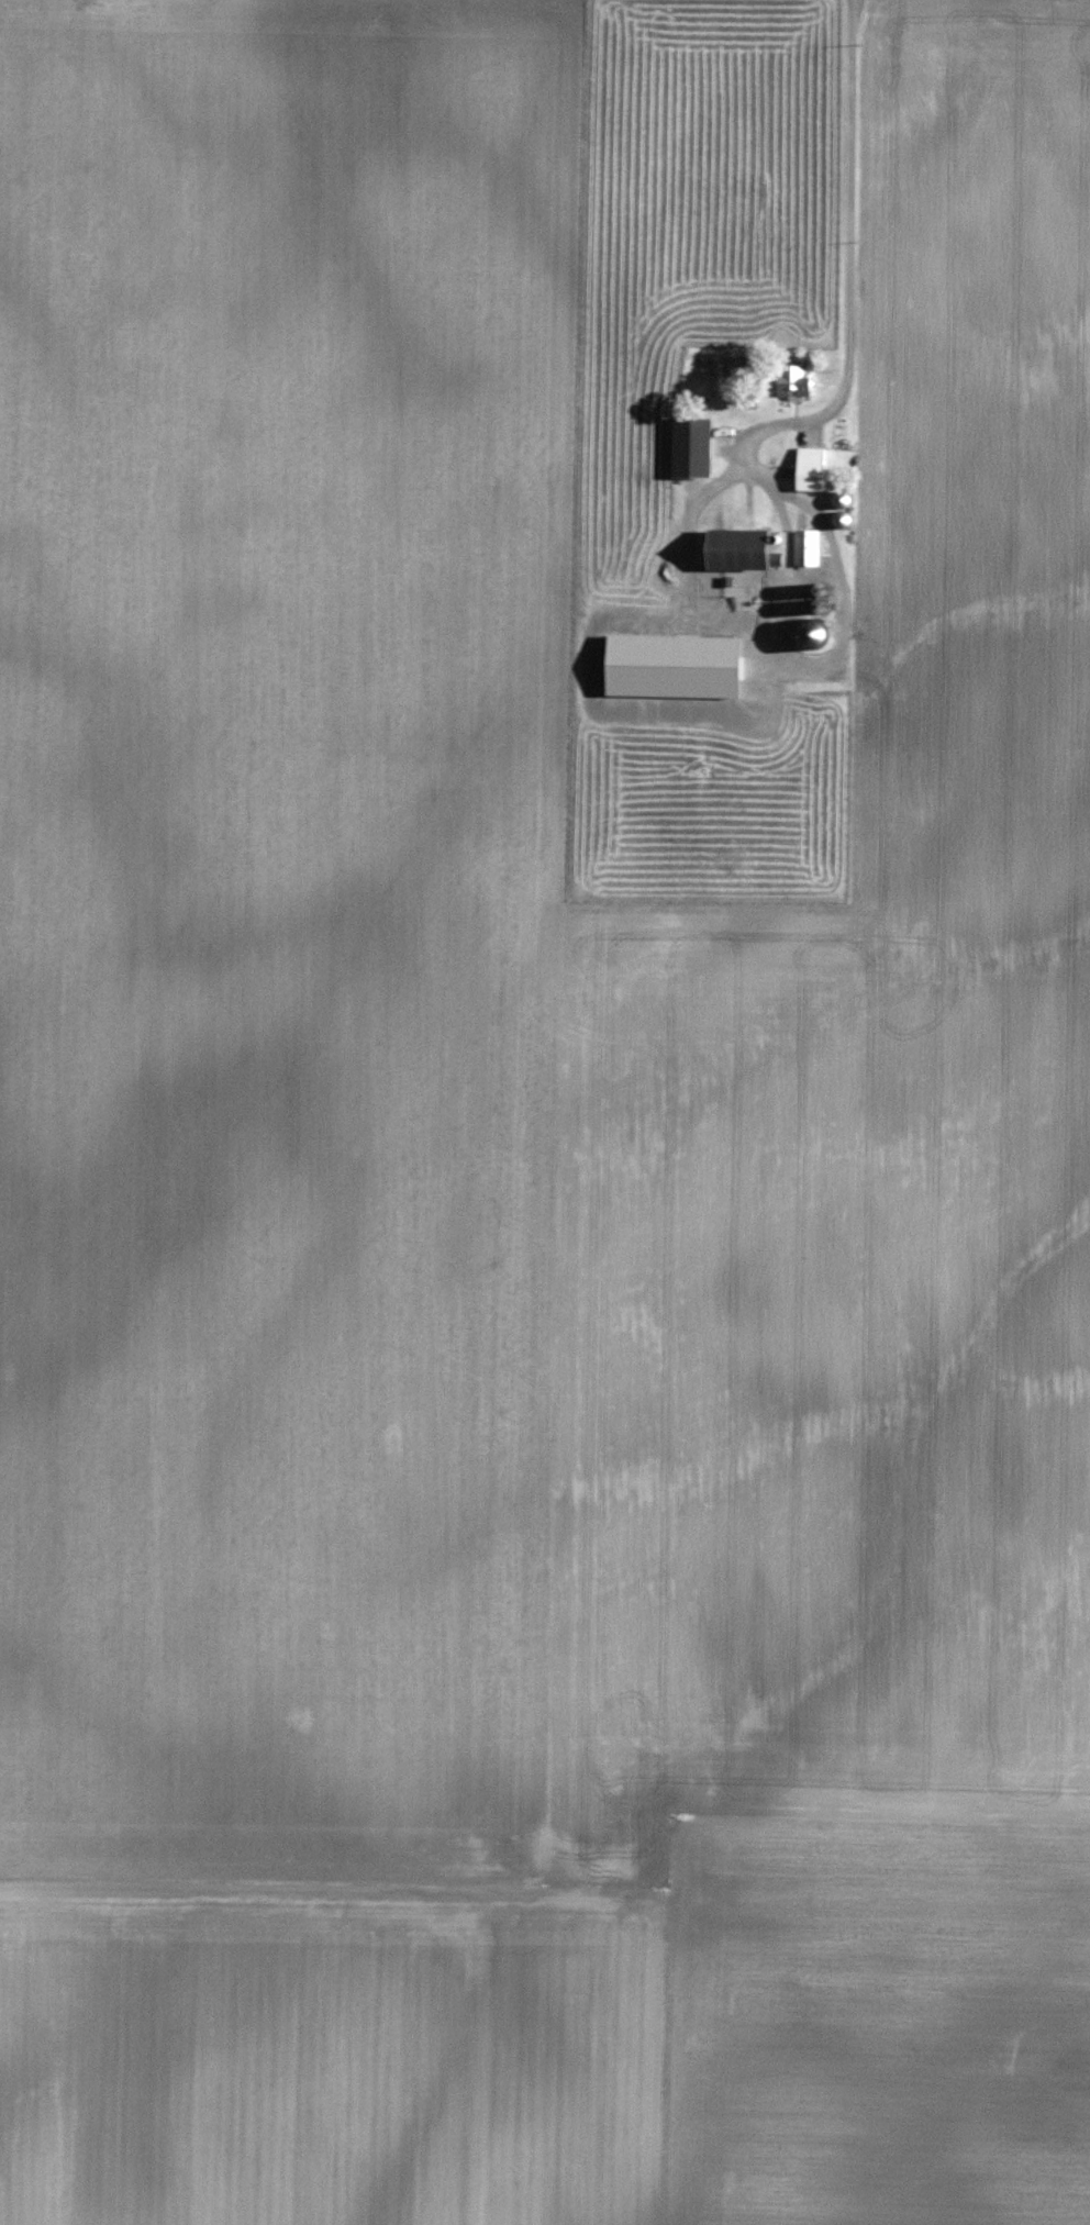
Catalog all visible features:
road: (846, 226)

